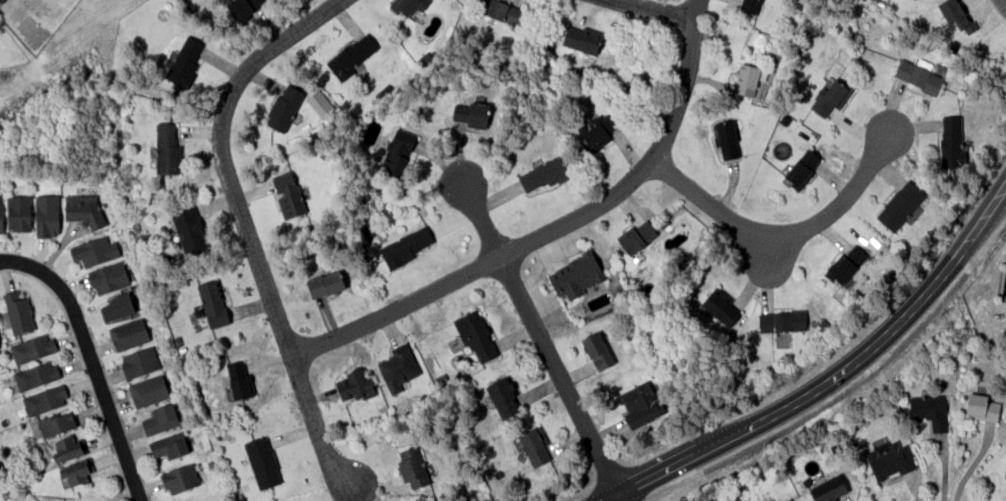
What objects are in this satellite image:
building: (0, 0)
road: (1003, 2)
building: (408, 5)
building: (749, 5)
building: (242, 7)
road: (653, 9)
building: (499, 10)
building: (581, 39)
building: (350, 55)
building: (424, 57)
building: (183, 63)
building: (917, 74)
building: (745, 79)
building: (386, 87)
building: (379, 93)
building: (830, 96)
building: (319, 103)
building: (283, 107)
building: (470, 112)
building: (783, 119)
building: (597, 130)
building: (726, 139)
building: (951, 141)
building: (166, 148)
building: (396, 151)
building: (801, 167)
building: (545, 173)
building: (287, 194)
building: (899, 204)
building: (83, 210)
building: (18, 212)
building: (46, 214)
building: (0, 216)
road: (249, 228)
building: (366, 230)
building: (189, 231)
road: (555, 231)
building: (636, 236)
road: (782, 236)
building: (404, 246)
building: (94, 250)
building: (844, 264)
building: (576, 275)
building: (108, 277)
building: (324, 284)
building: (212, 303)
building: (117, 306)
building: (720, 306)
building: (17, 312)
building: (781, 321)
building: (823, 324)
building: (127, 334)
building: (475, 334)
road: (542, 334)
building: (32, 348)
building: (597, 350)
building: (216, 355)
road: (89, 361)
building: (139, 361)
building: (397, 367)
building: (35, 375)
building: (238, 379)
building: (440, 379)
road: (827, 379)
building: (354, 385)
building: (147, 390)
building: (502, 397)
building: (44, 399)
building: (640, 403)
building: (981, 406)
building: (928, 410)
building: (160, 419)
building: (861, 421)
building: (55, 423)
building: (534, 445)
building: (169, 446)
building: (68, 448)
building: (889, 459)
building: (261, 462)
building: (209, 463)
building: (411, 466)
building: (76, 471)
building: (1005, 472)
building: (180, 478)
building: (828, 489)
road: (623, 495)
building: (788, 500)

